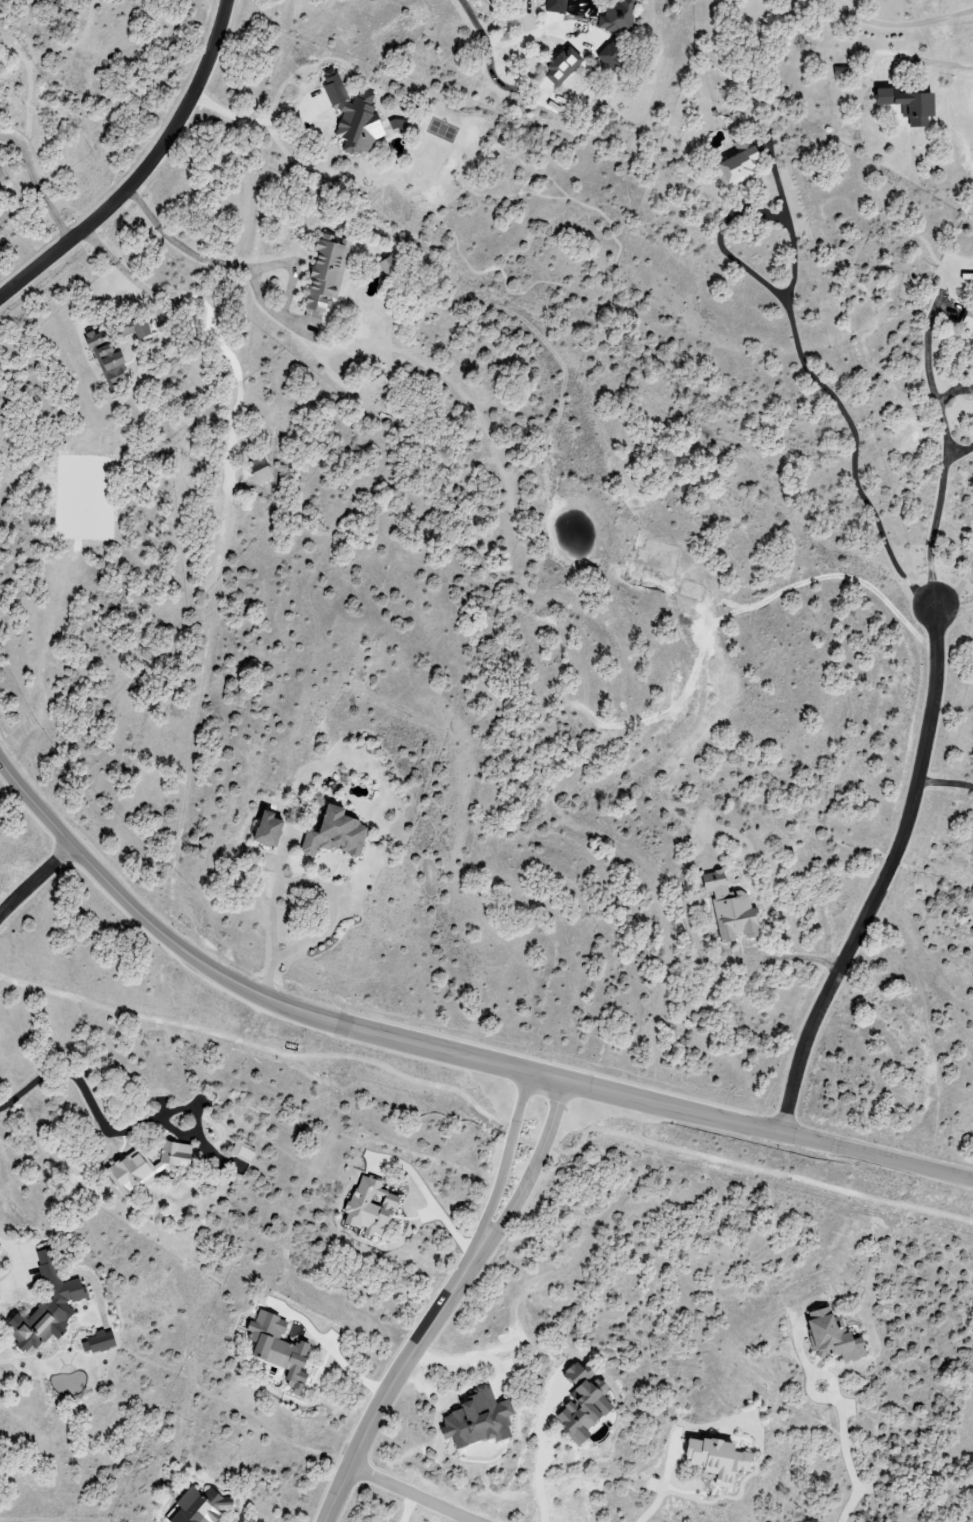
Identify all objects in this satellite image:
building: (558, 6)
building: (618, 17)
road: (914, 20)
road: (502, 47)
building: (614, 58)
road: (931, 58)
building: (565, 66)
building: (914, 105)
building: (355, 116)
building: (742, 167)
road: (142, 172)
road: (38, 187)
road: (720, 244)
road: (197, 257)
building: (390, 268)
road: (128, 273)
building: (329, 273)
building: (968, 319)
building: (137, 329)
building: (109, 359)
building: (380, 382)
road: (954, 392)
road: (831, 397)
road: (959, 454)
road: (946, 458)
building: (262, 469)
road: (957, 591)
road: (954, 610)
road: (945, 778)
building: (272, 829)
building: (339, 834)
road: (34, 880)
road: (883, 880)
road: (329, 895)
building: (731, 909)
road: (800, 954)
road: (442, 1050)
road: (261, 1051)
road: (88, 1099)
road: (506, 1156)
building: (149, 1166)
road: (534, 1167)
road: (736, 1168)
building: (373, 1207)
road: (22, 1265)
building: (49, 1306)
building: (836, 1337)
building: (102, 1342)
building: (281, 1349)
road: (398, 1375)
building: (585, 1405)
building: (482, 1420)
road: (543, 1451)
building: (720, 1457)
road: (852, 1457)
road: (663, 1488)
road: (408, 1496)
building: (204, 1506)

